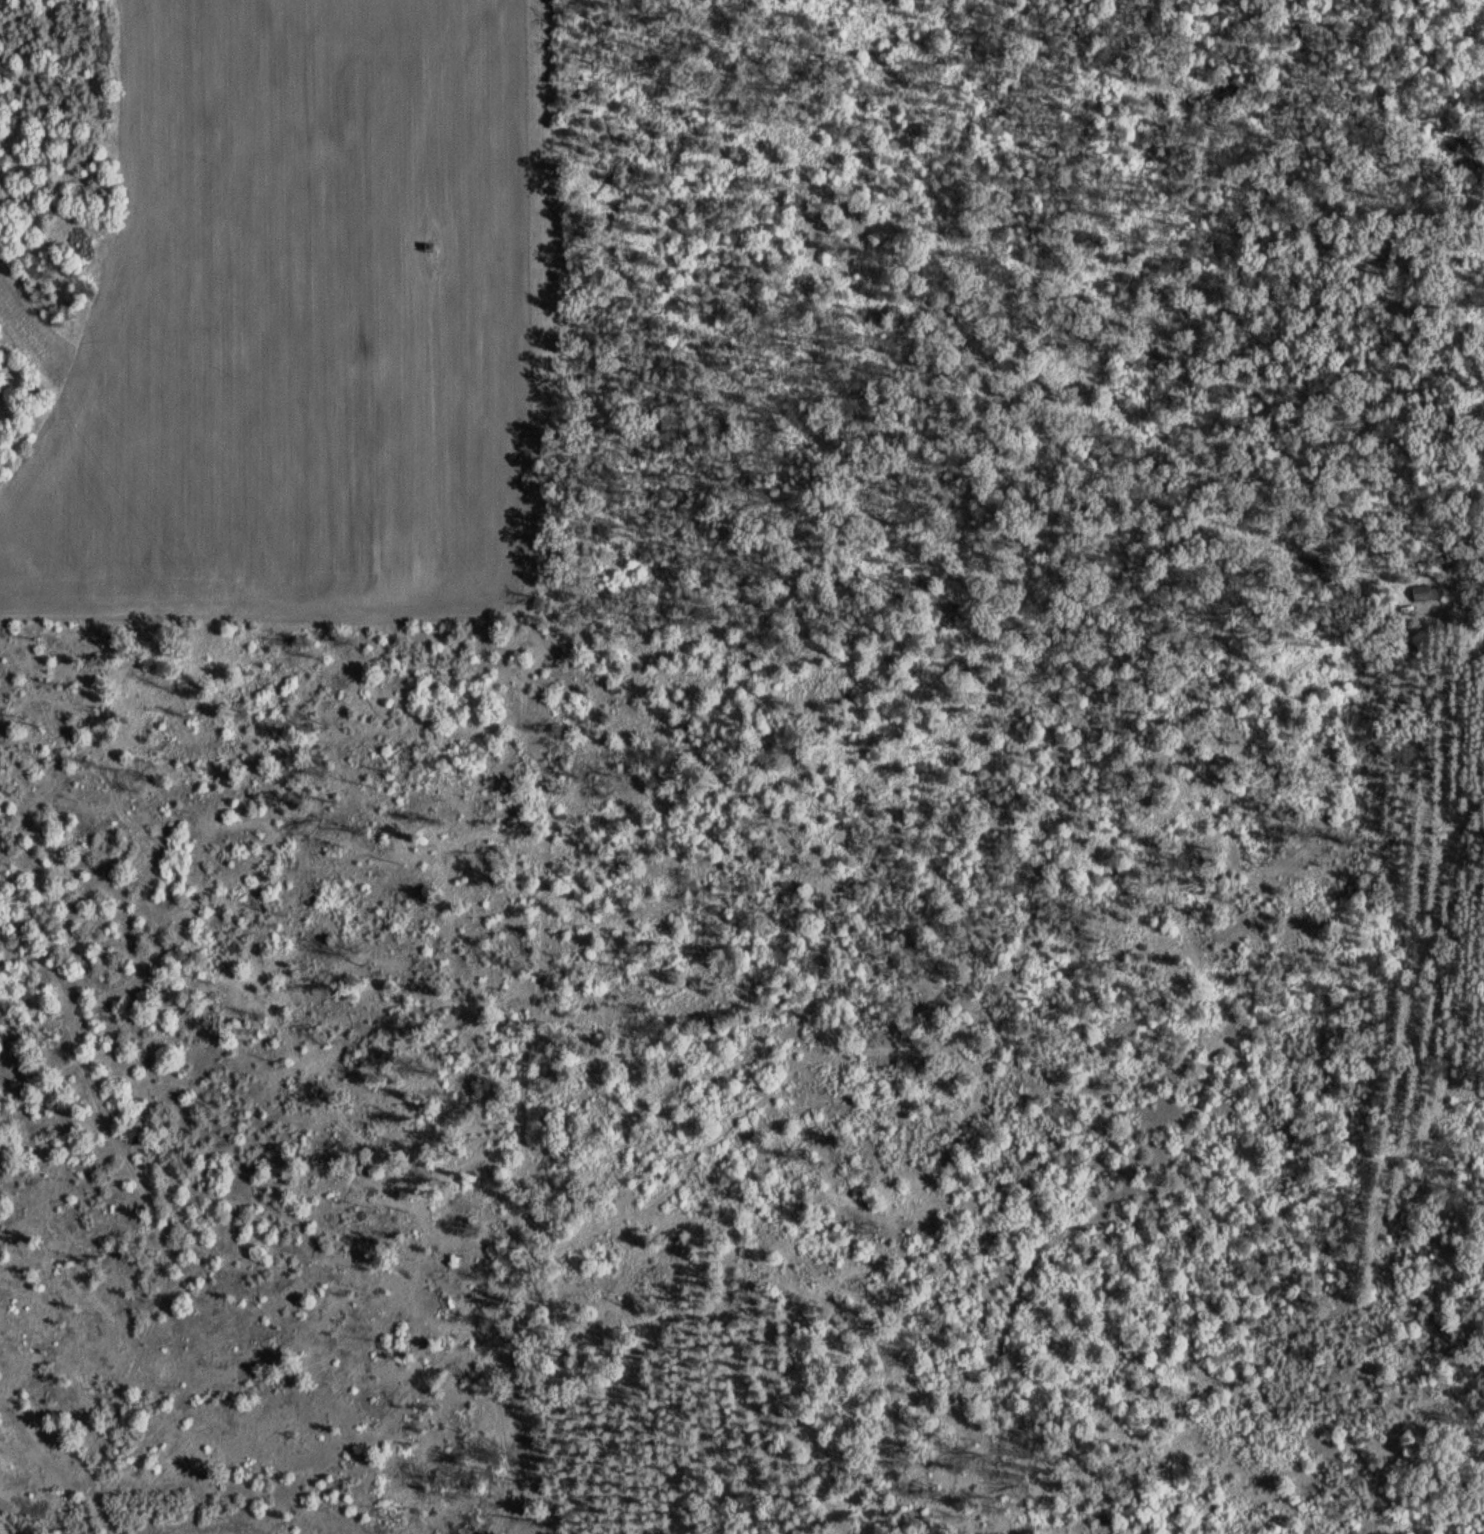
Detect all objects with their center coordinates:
building: (1424, 594)

